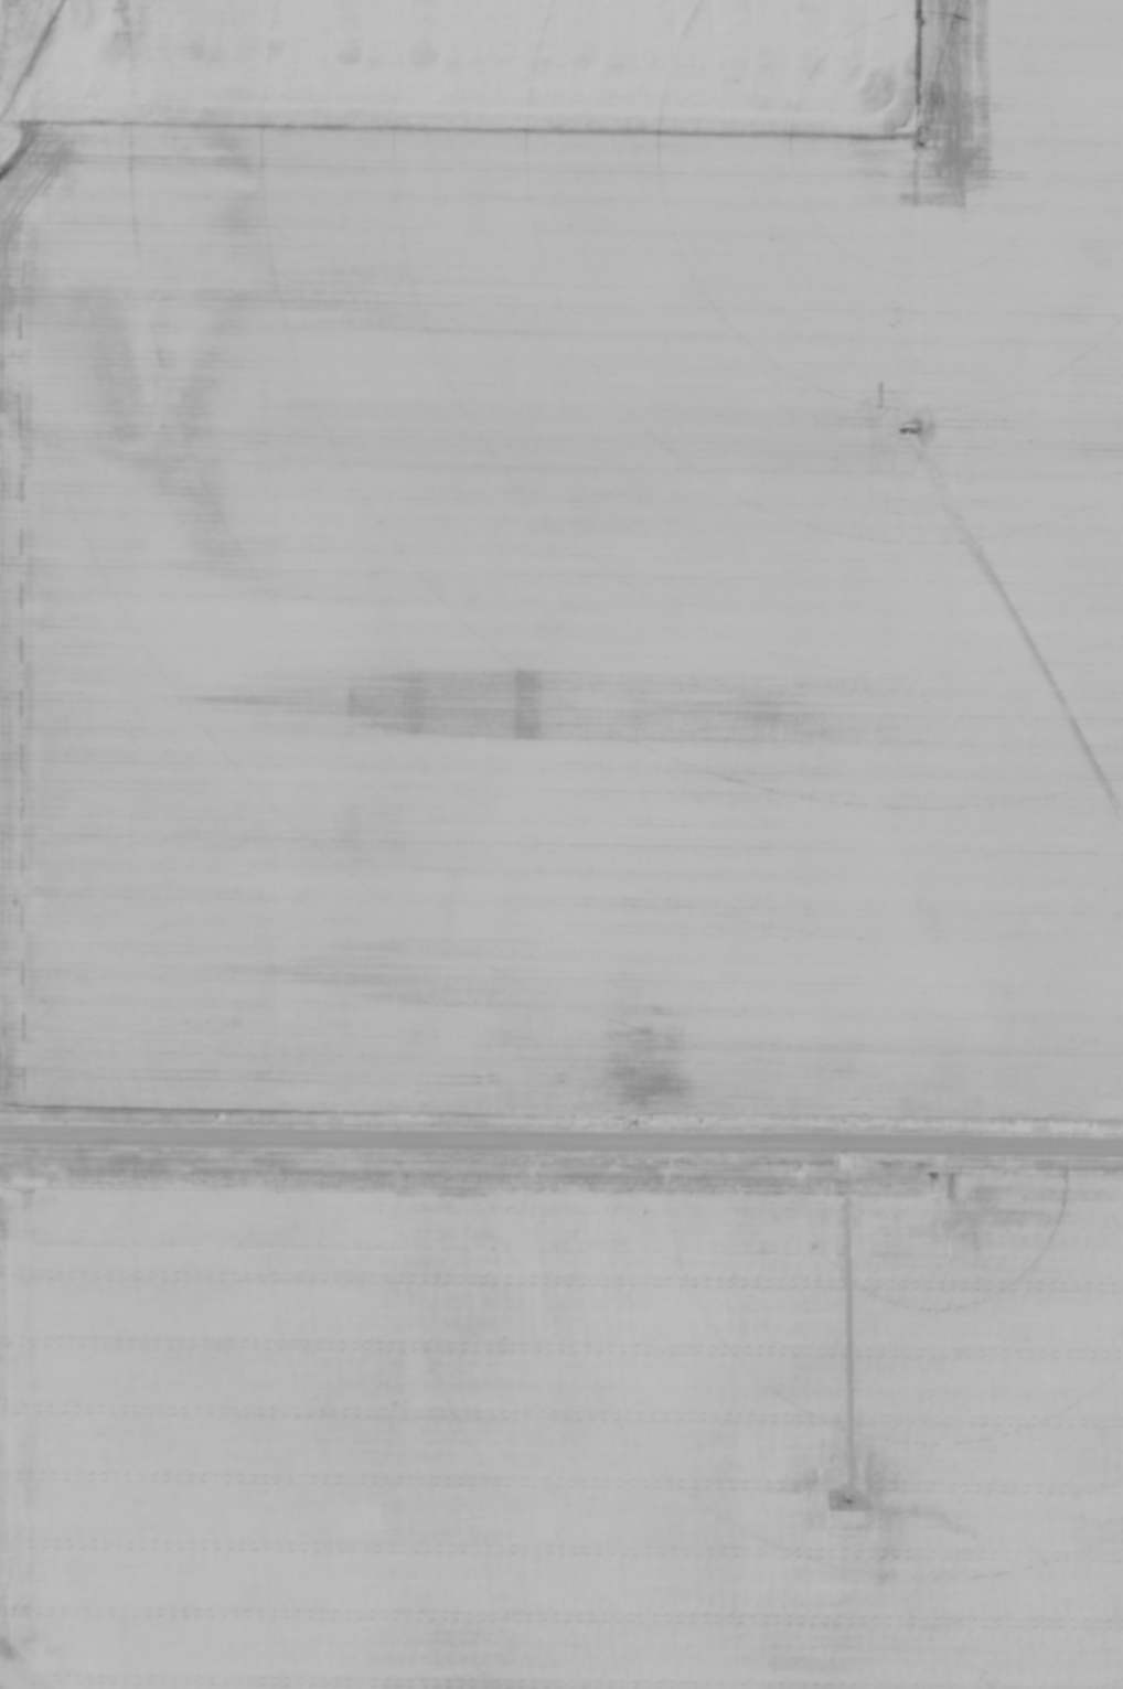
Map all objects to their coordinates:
road: (560, 1147)

